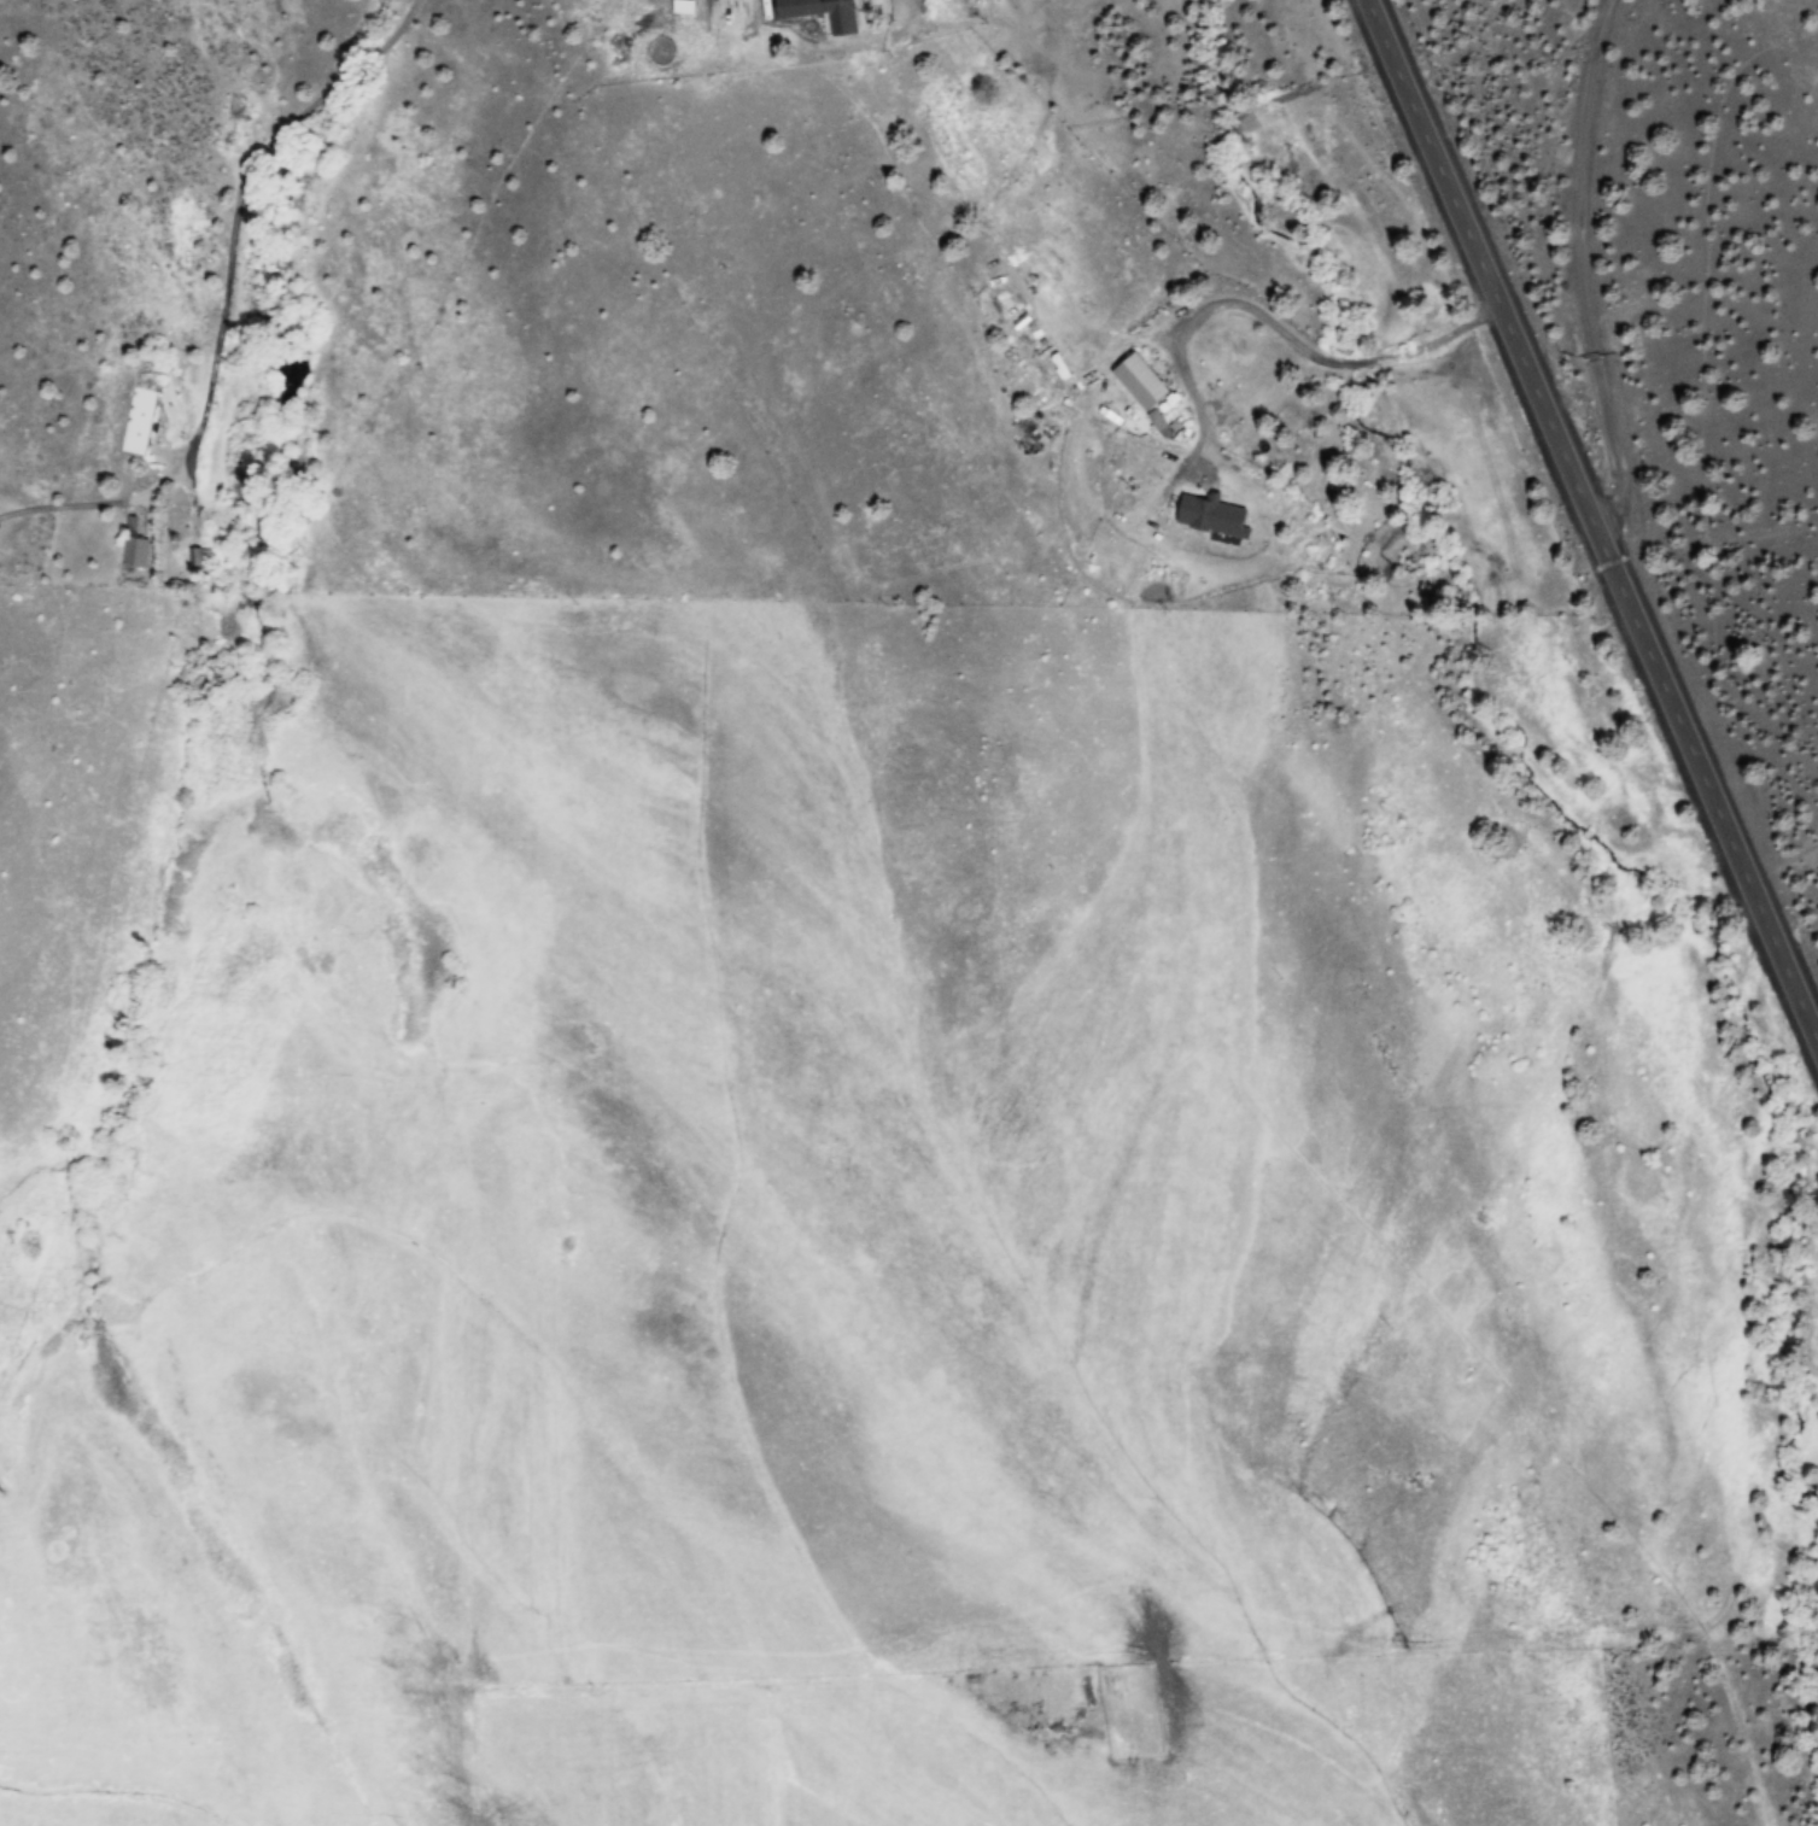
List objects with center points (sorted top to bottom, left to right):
building: (825, 6)
road: (387, 37)
building: (135, 425)
road: (1592, 520)
building: (130, 540)
road: (163, 608)

